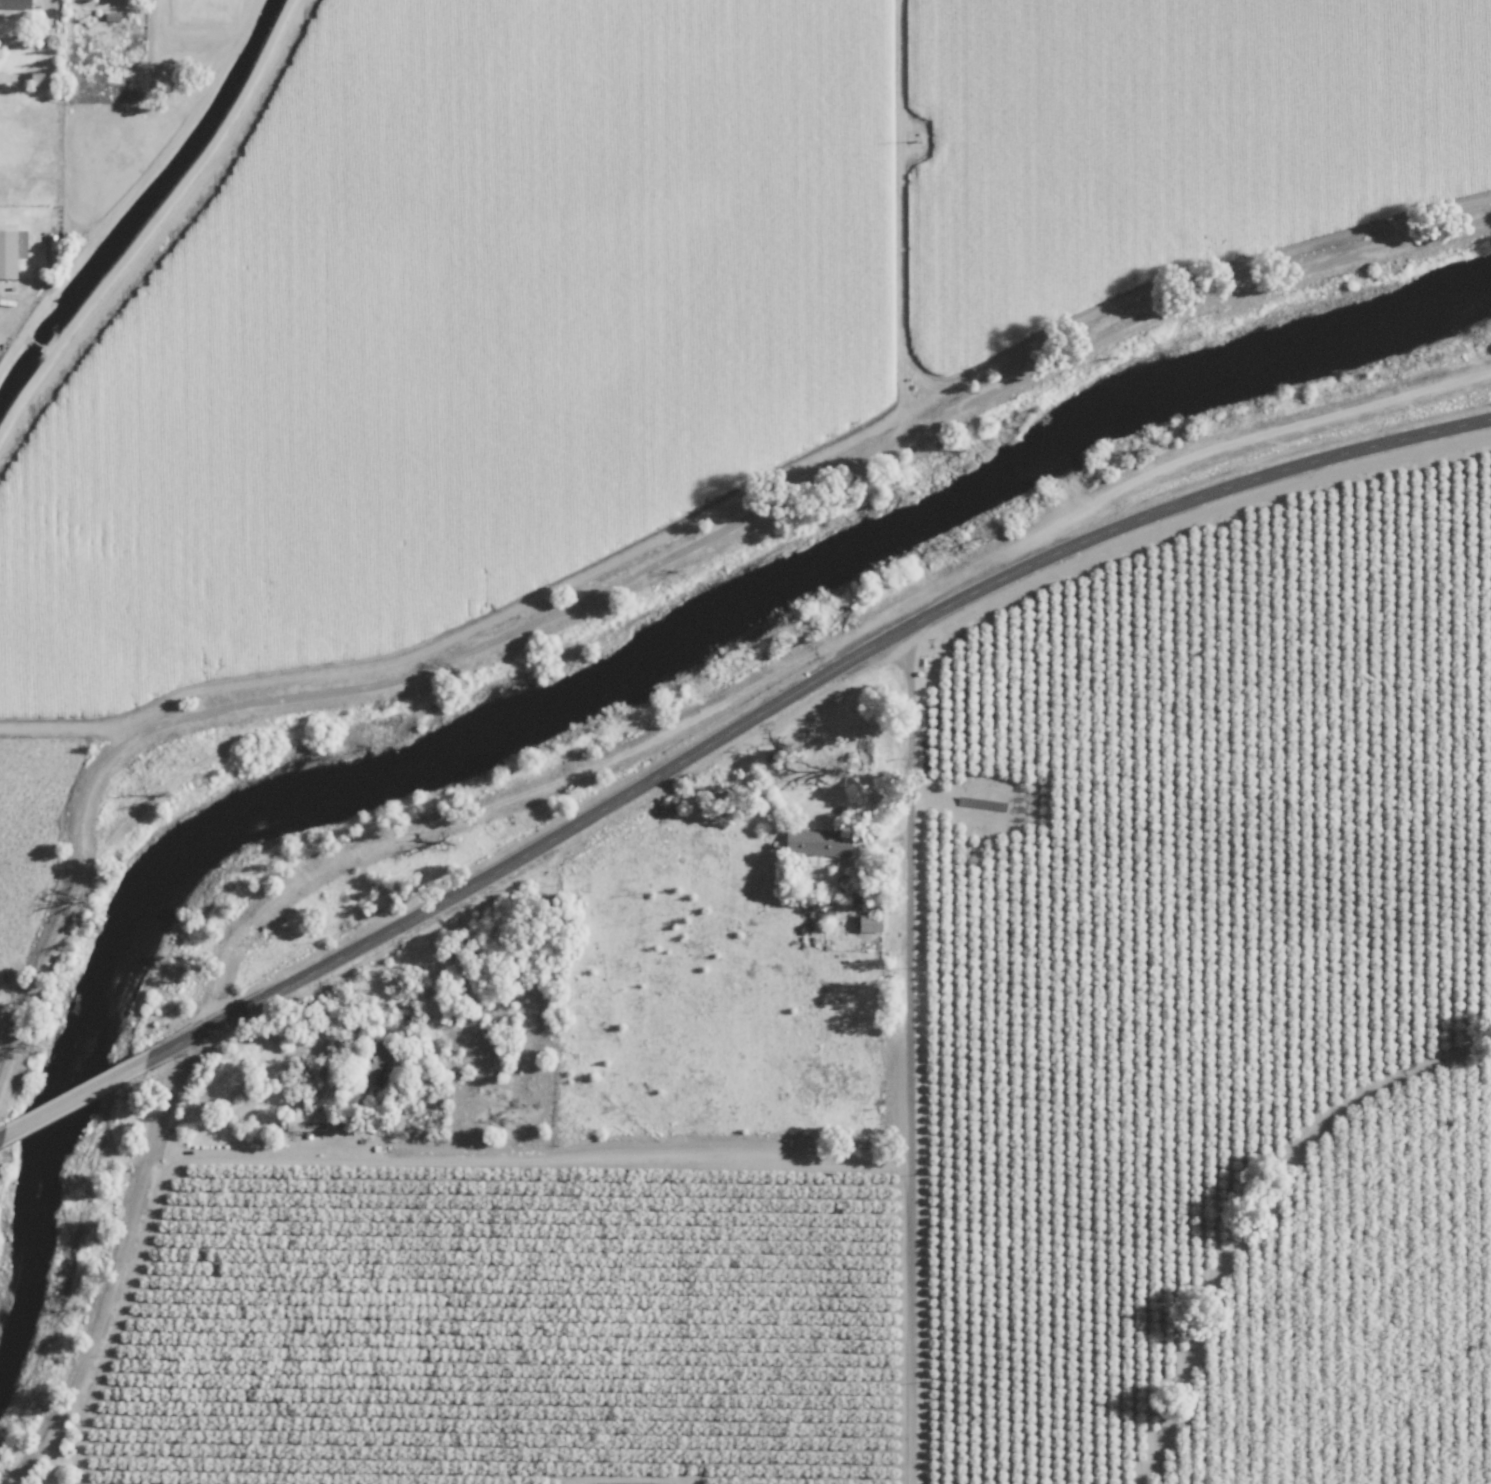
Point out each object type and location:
building: (17, 4)
road: (25, 37)
road: (44, 53)
building: (10, 254)
crop: (579, 287)
river: (592, 688)
road: (798, 691)
building: (813, 842)
building: (865, 923)
road: (920, 1054)
building: (358, 1075)
road: (72, 1096)
building: (301, 1121)
road: (245, 1148)
road: (675, 1157)
road: (1256, 1208)
road: (116, 1259)

